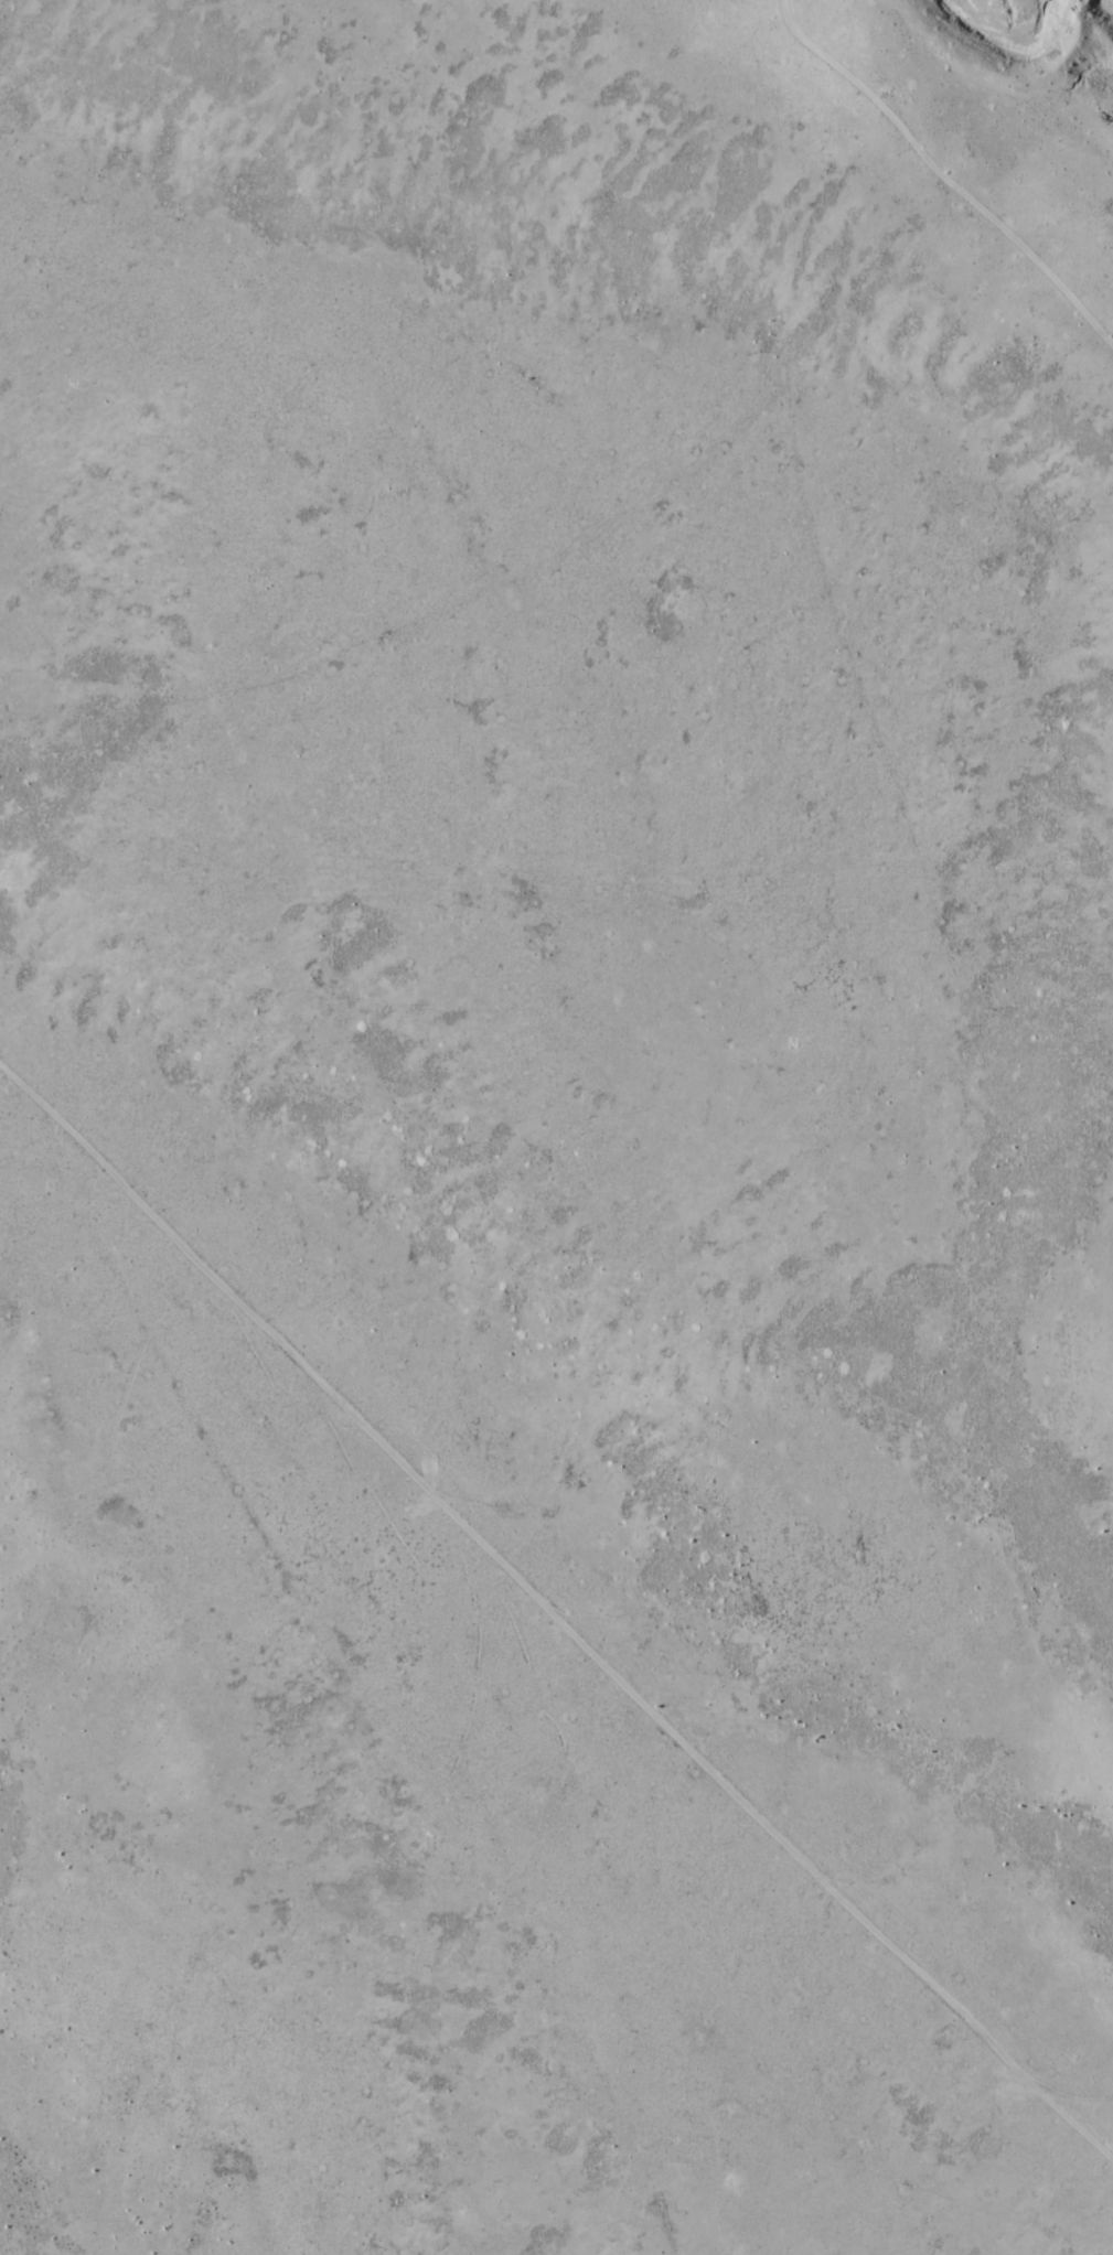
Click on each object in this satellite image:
road: (923, 181)
road: (367, 1653)

